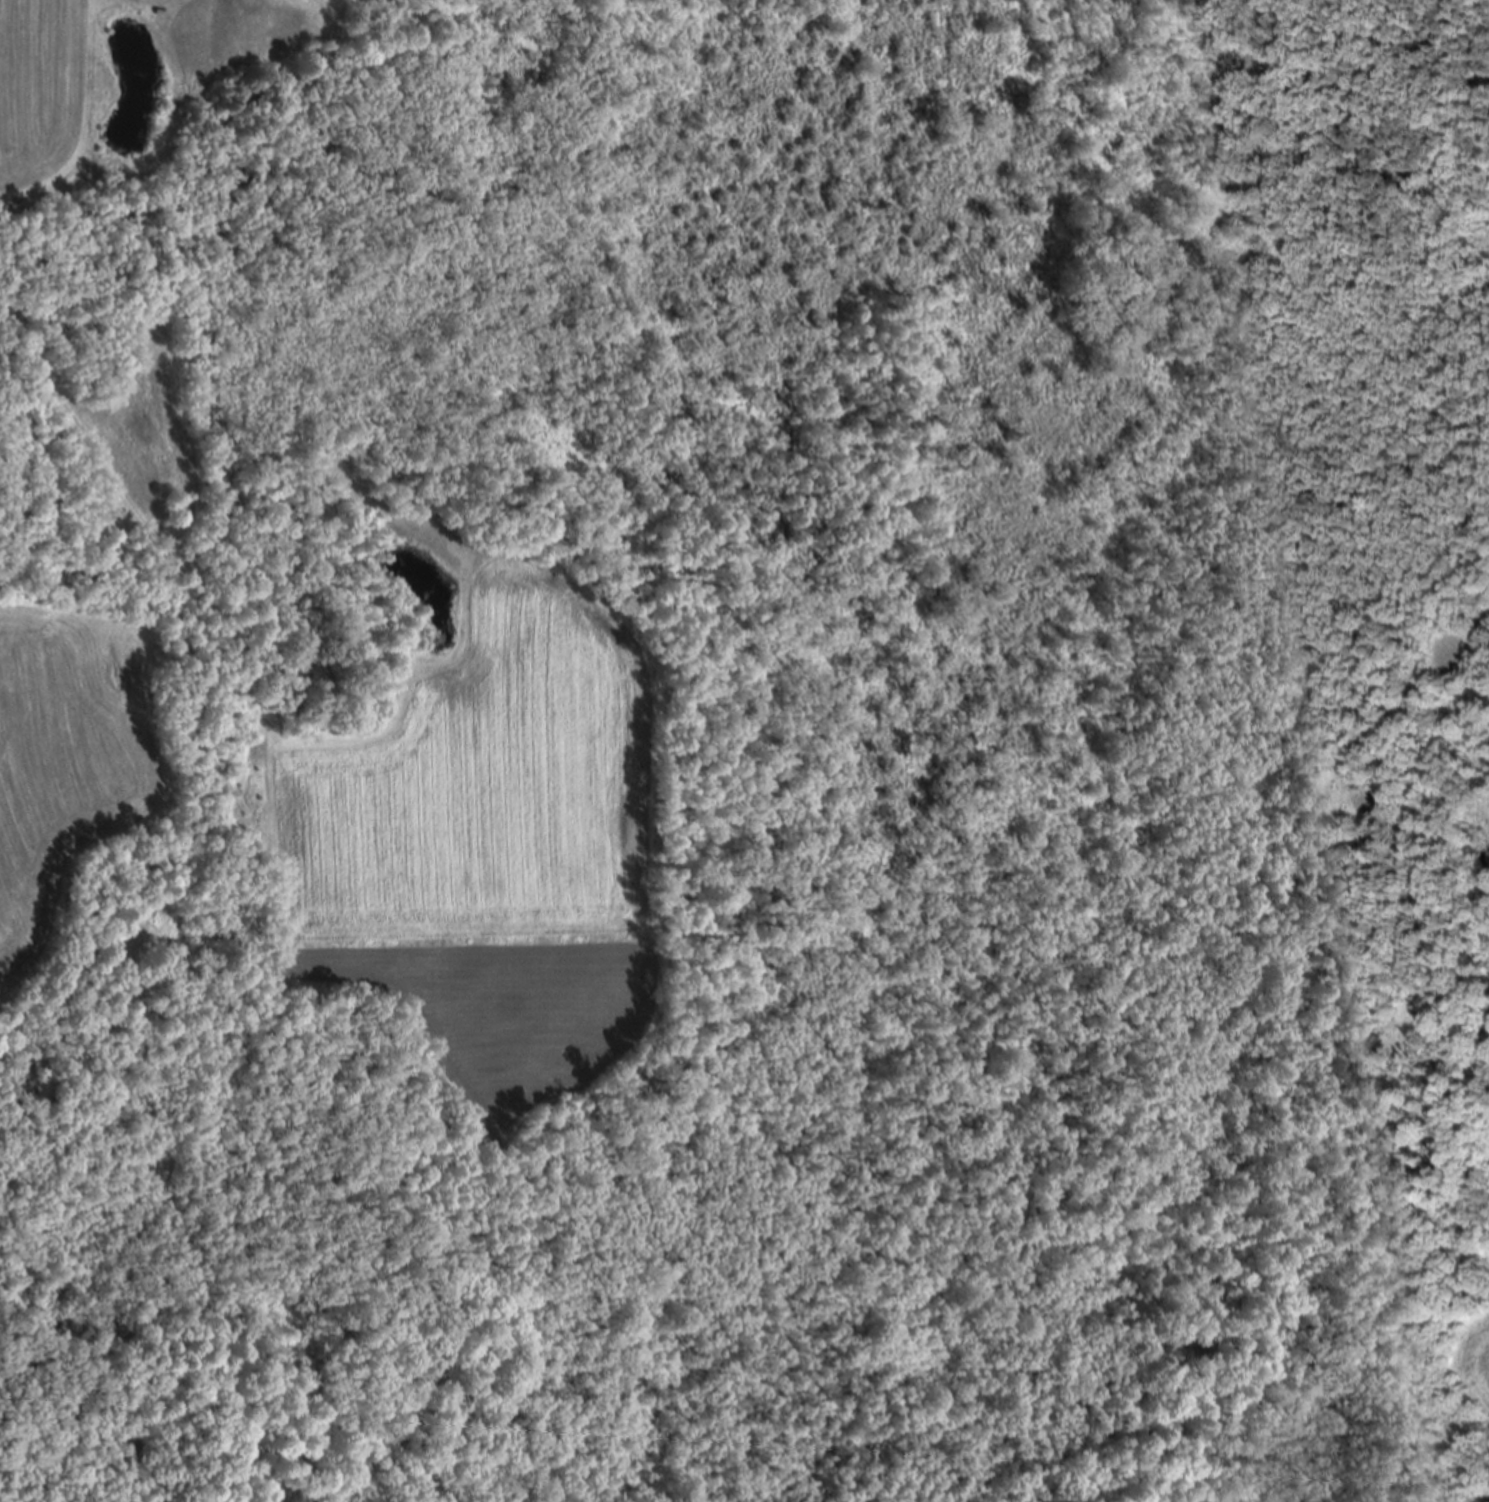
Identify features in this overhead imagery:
road: (1476, 637)

